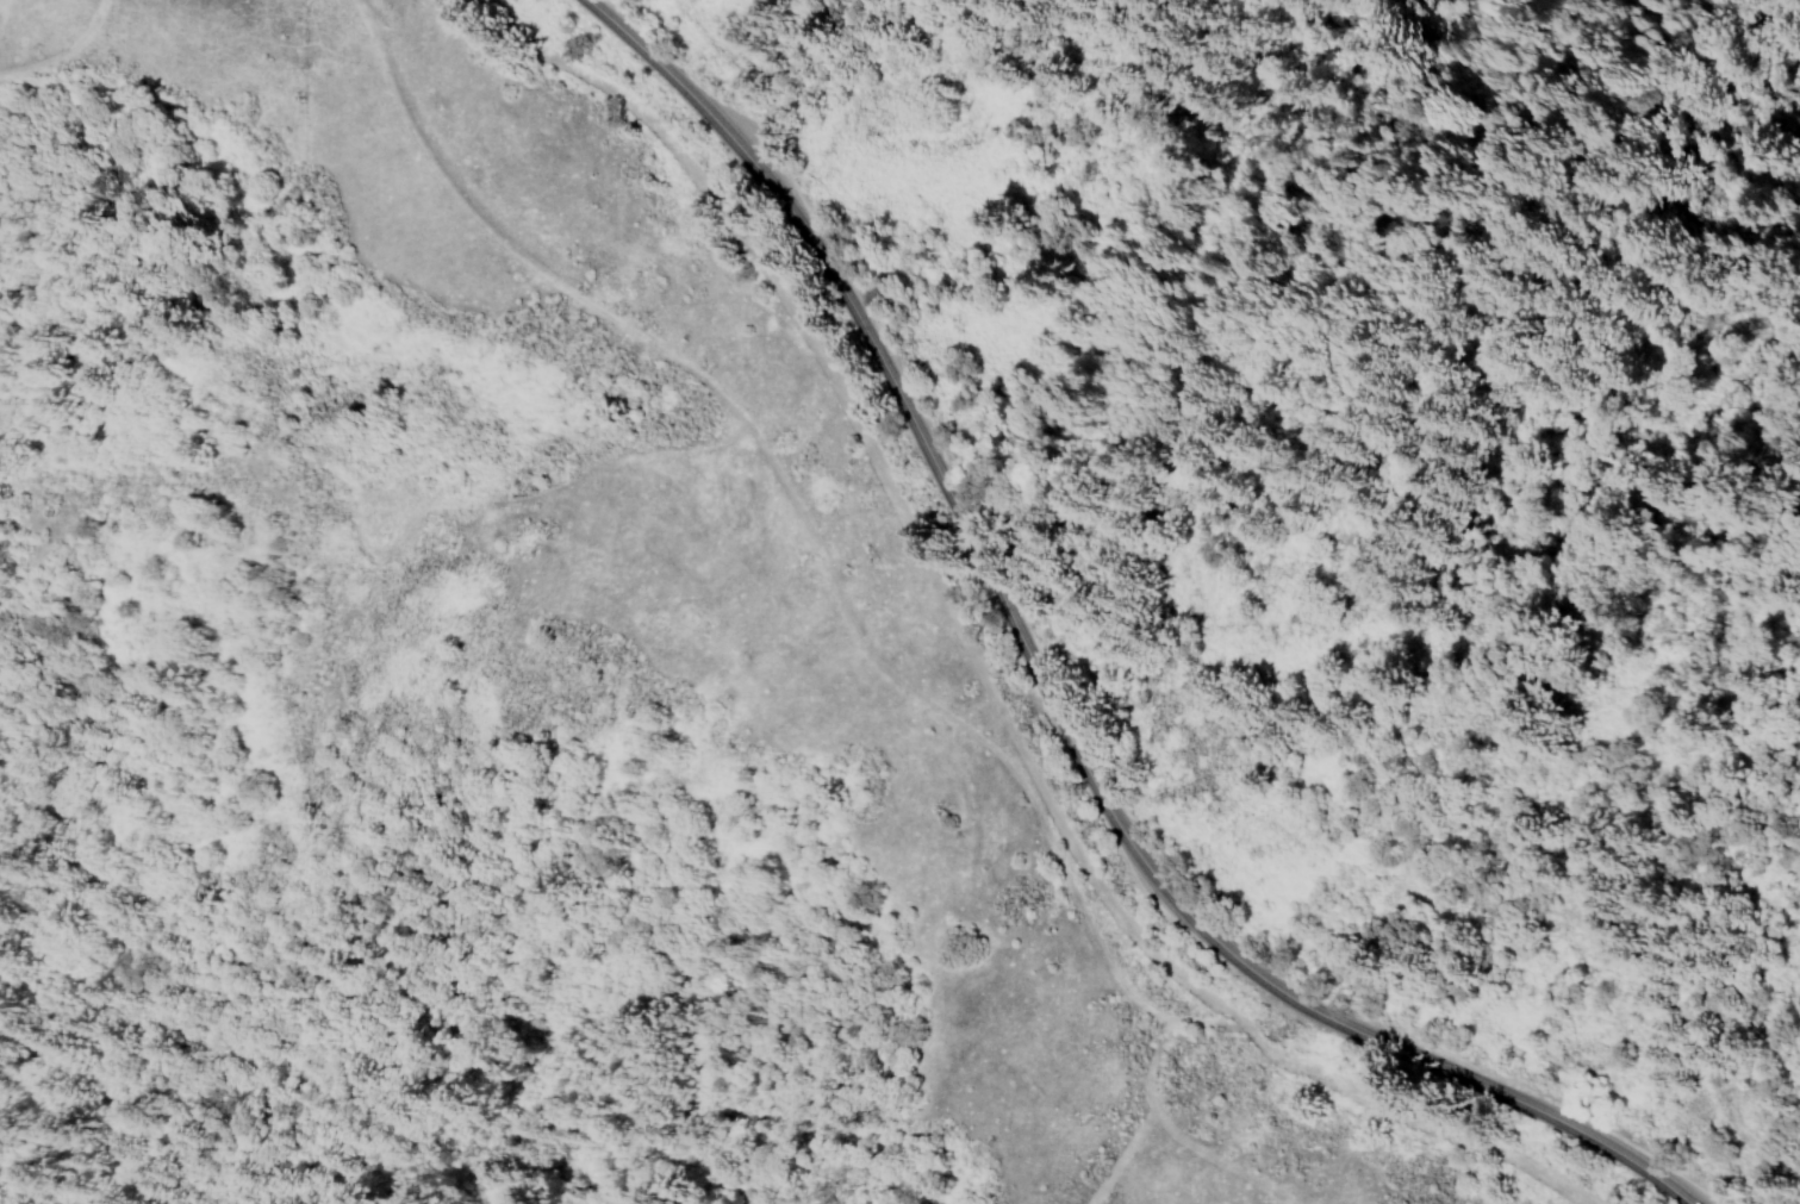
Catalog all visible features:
road: (766, 75)
parking lot: (742, 130)
road: (1047, 692)

